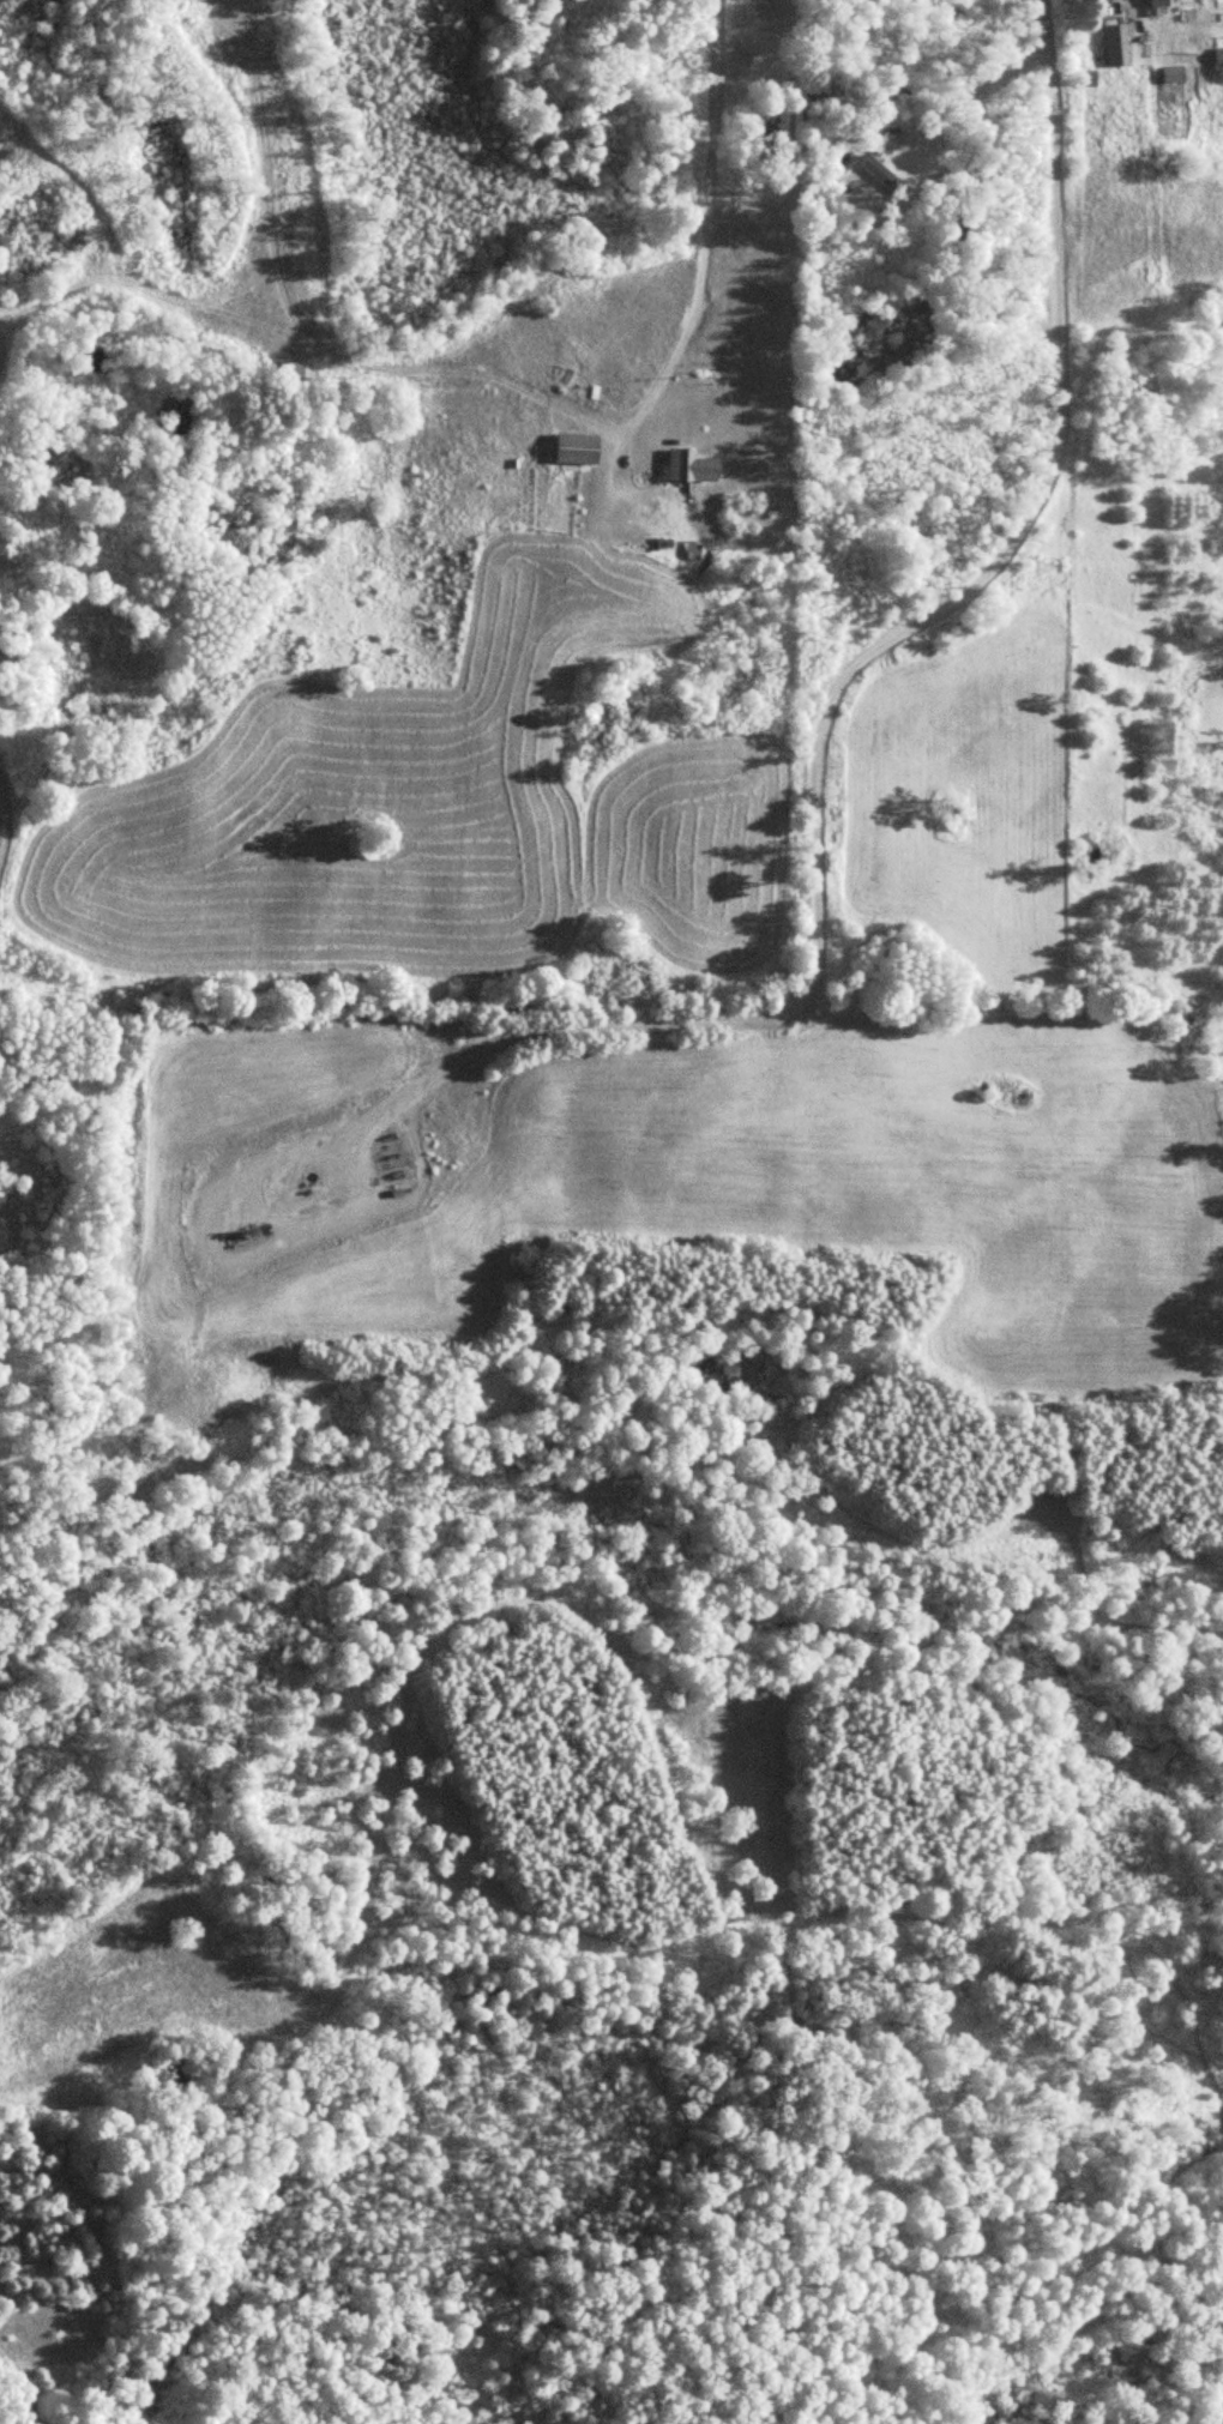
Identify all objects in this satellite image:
building: (1164, 7)
building: (1120, 42)
building: (1222, 56)
building: (1177, 74)
building: (881, 174)
road: (695, 301)
building: (295, 373)
building: (580, 447)
building: (693, 462)
building: (695, 549)
road: (832, 700)
petroleum well: (253, 1223)

